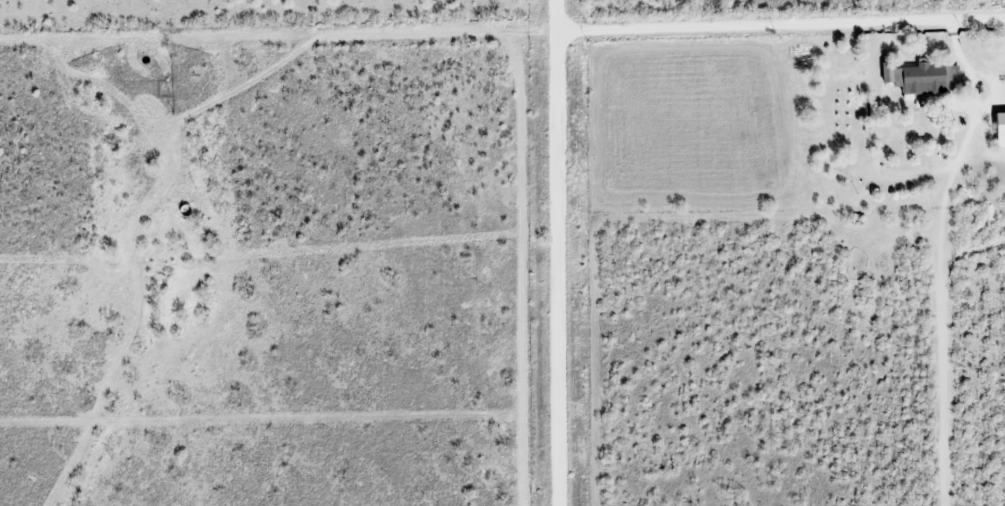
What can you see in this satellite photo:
road: (780, 23)
building: (925, 77)
road: (557, 252)

